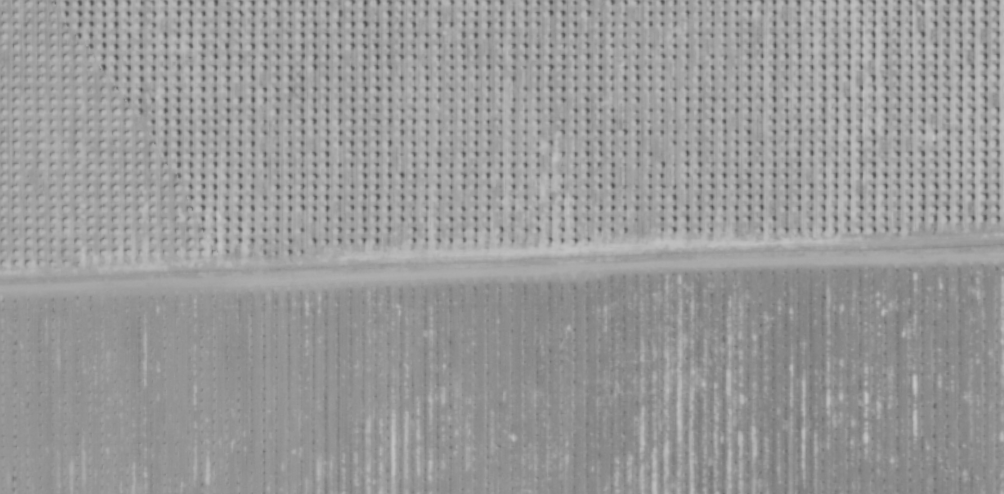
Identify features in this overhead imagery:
crop: (502, 247)

